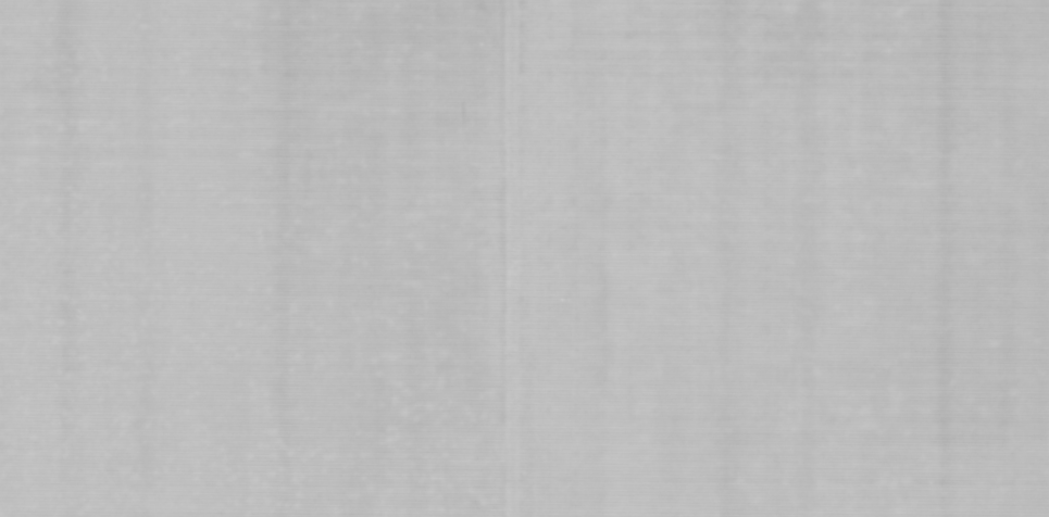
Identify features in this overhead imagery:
crop: (524, 258)

